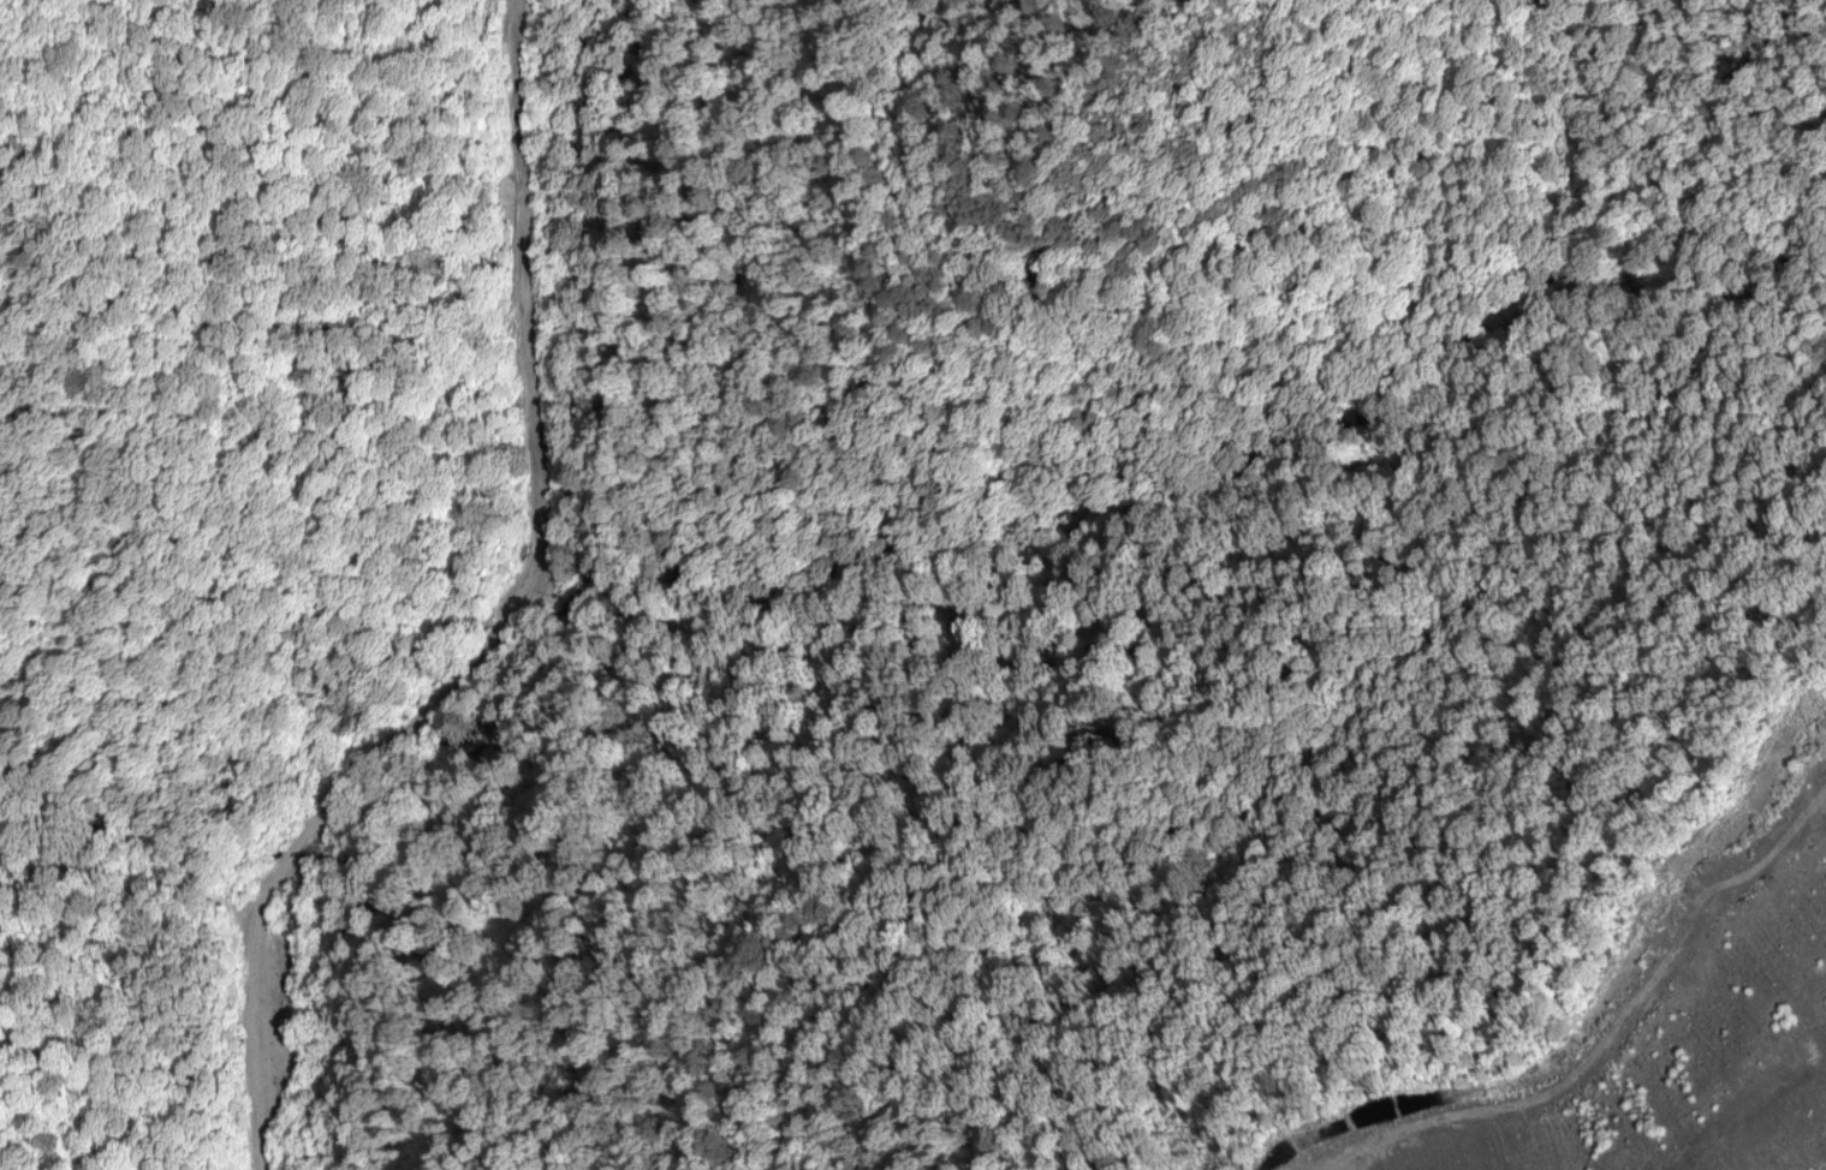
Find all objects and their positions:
road: (163, 1071)

